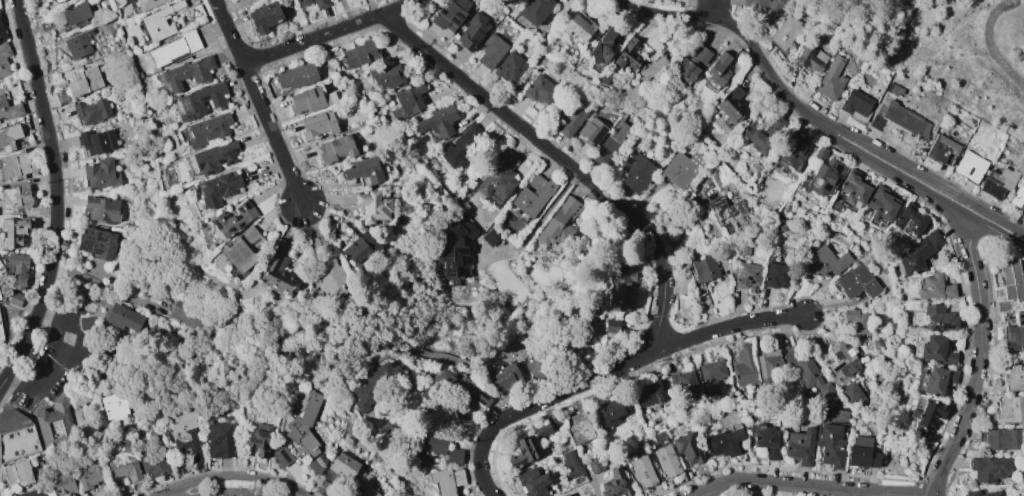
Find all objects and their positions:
building: (56, 1)
building: (303, 2)
building: (148, 3)
building: (320, 4)
road: (711, 7)
building: (766, 8)
building: (536, 11)
building: (76, 14)
building: (451, 15)
building: (265, 17)
road: (719, 19)
building: (158, 24)
building: (577, 28)
road: (228, 30)
building: (472, 32)
building: (2, 33)
building: (785, 33)
road: (330, 34)
building: (77, 45)
building: (603, 46)
building: (174, 49)
building: (491, 51)
building: (359, 54)
building: (628, 56)
building: (810, 58)
building: (4, 59)
building: (692, 64)
building: (510, 68)
building: (652, 68)
building: (719, 68)
building: (187, 73)
building: (296, 76)
building: (387, 76)
building: (831, 79)
building: (83, 81)
building: (893, 89)
building: (540, 90)
building: (309, 100)
building: (201, 101)
building: (408, 102)
building: (731, 104)
building: (856, 105)
building: (9, 108)
road: (803, 109)
building: (92, 111)
building: (570, 119)
building: (901, 120)
building: (437, 123)
building: (318, 124)
road: (272, 128)
building: (207, 129)
building: (592, 131)
building: (763, 134)
building: (9, 138)
building: (97, 142)
building: (611, 144)
building: (463, 146)
building: (336, 148)
building: (941, 148)
building: (792, 150)
building: (820, 153)
building: (215, 157)
road: (564, 161)
building: (970, 165)
building: (14, 166)
building: (682, 168)
building: (637, 172)
building: (101, 174)
road: (893, 174)
road: (921, 175)
building: (498, 176)
building: (828, 177)
building: (998, 182)
building: (219, 188)
building: (853, 189)
building: (532, 195)
building: (1017, 195)
building: (15, 197)
road: (58, 197)
building: (880, 206)
building: (372, 207)
building: (101, 210)
building: (731, 214)
building: (234, 218)
building: (909, 220)
road: (539, 222)
building: (559, 226)
building: (15, 231)
road: (1000, 234)
building: (491, 236)
building: (97, 242)
building: (243, 249)
building: (360, 249)
building: (456, 249)
building: (919, 253)
building: (826, 261)
building: (0, 265)
building: (705, 269)
building: (17, 270)
building: (278, 270)
building: (1, 273)
building: (747, 275)
building: (776, 275)
building: (330, 277)
building: (857, 282)
building: (1010, 283)
building: (934, 287)
building: (3, 289)
building: (620, 289)
building: (124, 318)
building: (938, 318)
building: (858, 322)
building: (87, 323)
building: (611, 326)
building: (1015, 334)
building: (1, 337)
building: (936, 350)
road: (58, 359)
building: (842, 362)
road: (979, 362)
building: (767, 365)
building: (744, 367)
building: (537, 368)
road: (609, 371)
building: (711, 376)
building: (812, 376)
building: (507, 377)
building: (1014, 377)
building: (938, 380)
building: (683, 384)
building: (377, 385)
building: (461, 388)
building: (852, 392)
building: (650, 393)
building: (113, 407)
building: (1009, 410)
building: (610, 412)
building: (928, 414)
building: (3, 422)
building: (57, 423)
building: (303, 427)
building: (580, 427)
building: (542, 430)
building: (154, 435)
building: (185, 435)
building: (18, 437)
building: (259, 439)
building: (1002, 439)
building: (220, 440)
building: (723, 441)
building: (766, 441)
building: (861, 441)
building: (428, 445)
building: (831, 445)
building: (799, 446)
building: (688, 448)
building: (523, 451)
building: (282, 456)
building: (454, 457)
building: (862, 457)
building: (667, 462)
building: (124, 463)
building: (154, 463)
building: (317, 464)
building: (343, 465)
building: (571, 465)
building: (594, 465)
building: (989, 468)
building: (642, 471)
building: (17, 473)
building: (89, 473)
road: (241, 476)
building: (446, 480)
building: (532, 482)
building: (63, 483)
building: (615, 484)
building: (362, 487)
road: (815, 487)
building: (323, 488)
building: (32, 493)
building: (982, 493)
road: (230, 494)
building: (564, 494)

